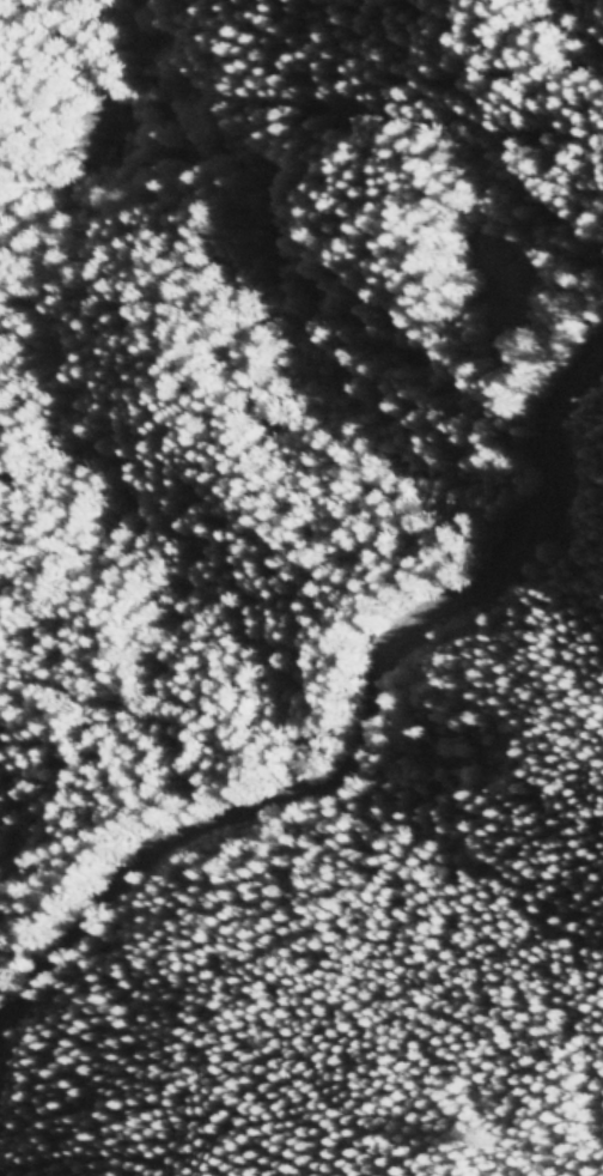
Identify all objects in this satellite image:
road: (368, 735)

